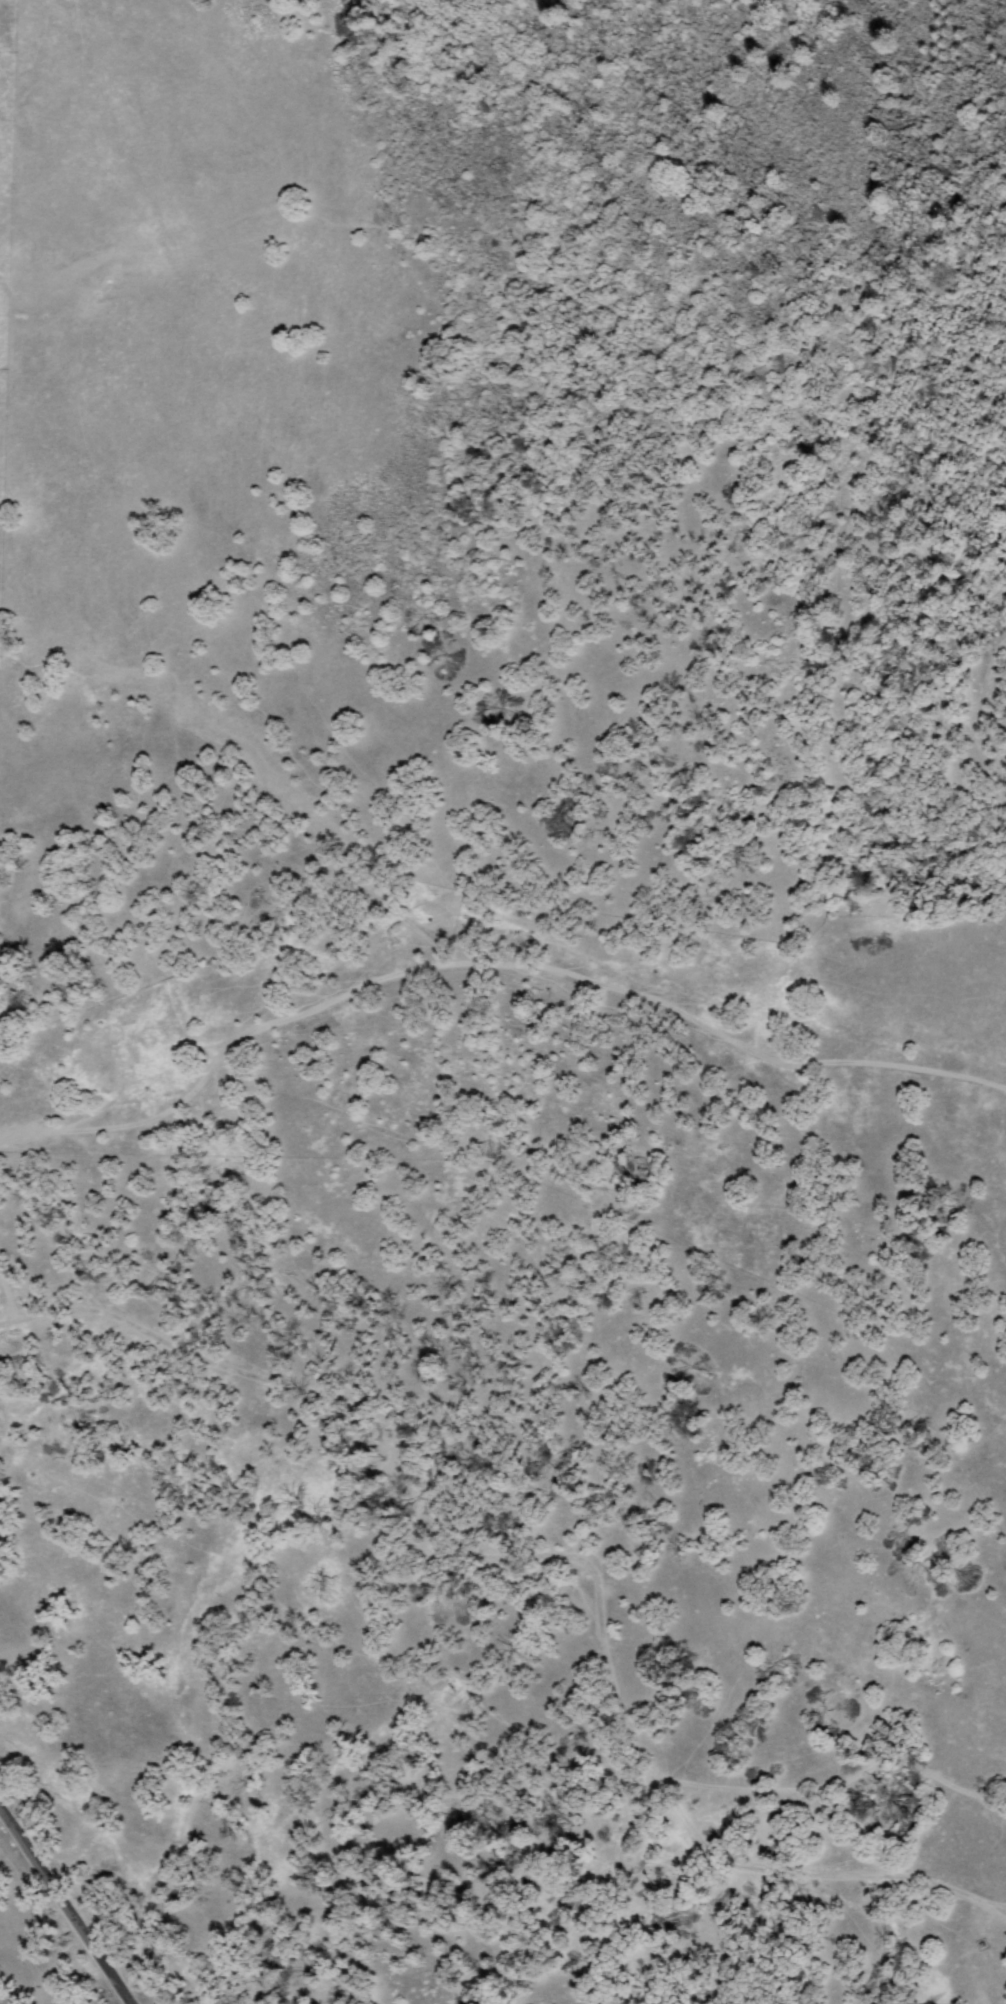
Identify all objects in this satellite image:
road: (491, 968)
road: (68, 1908)

